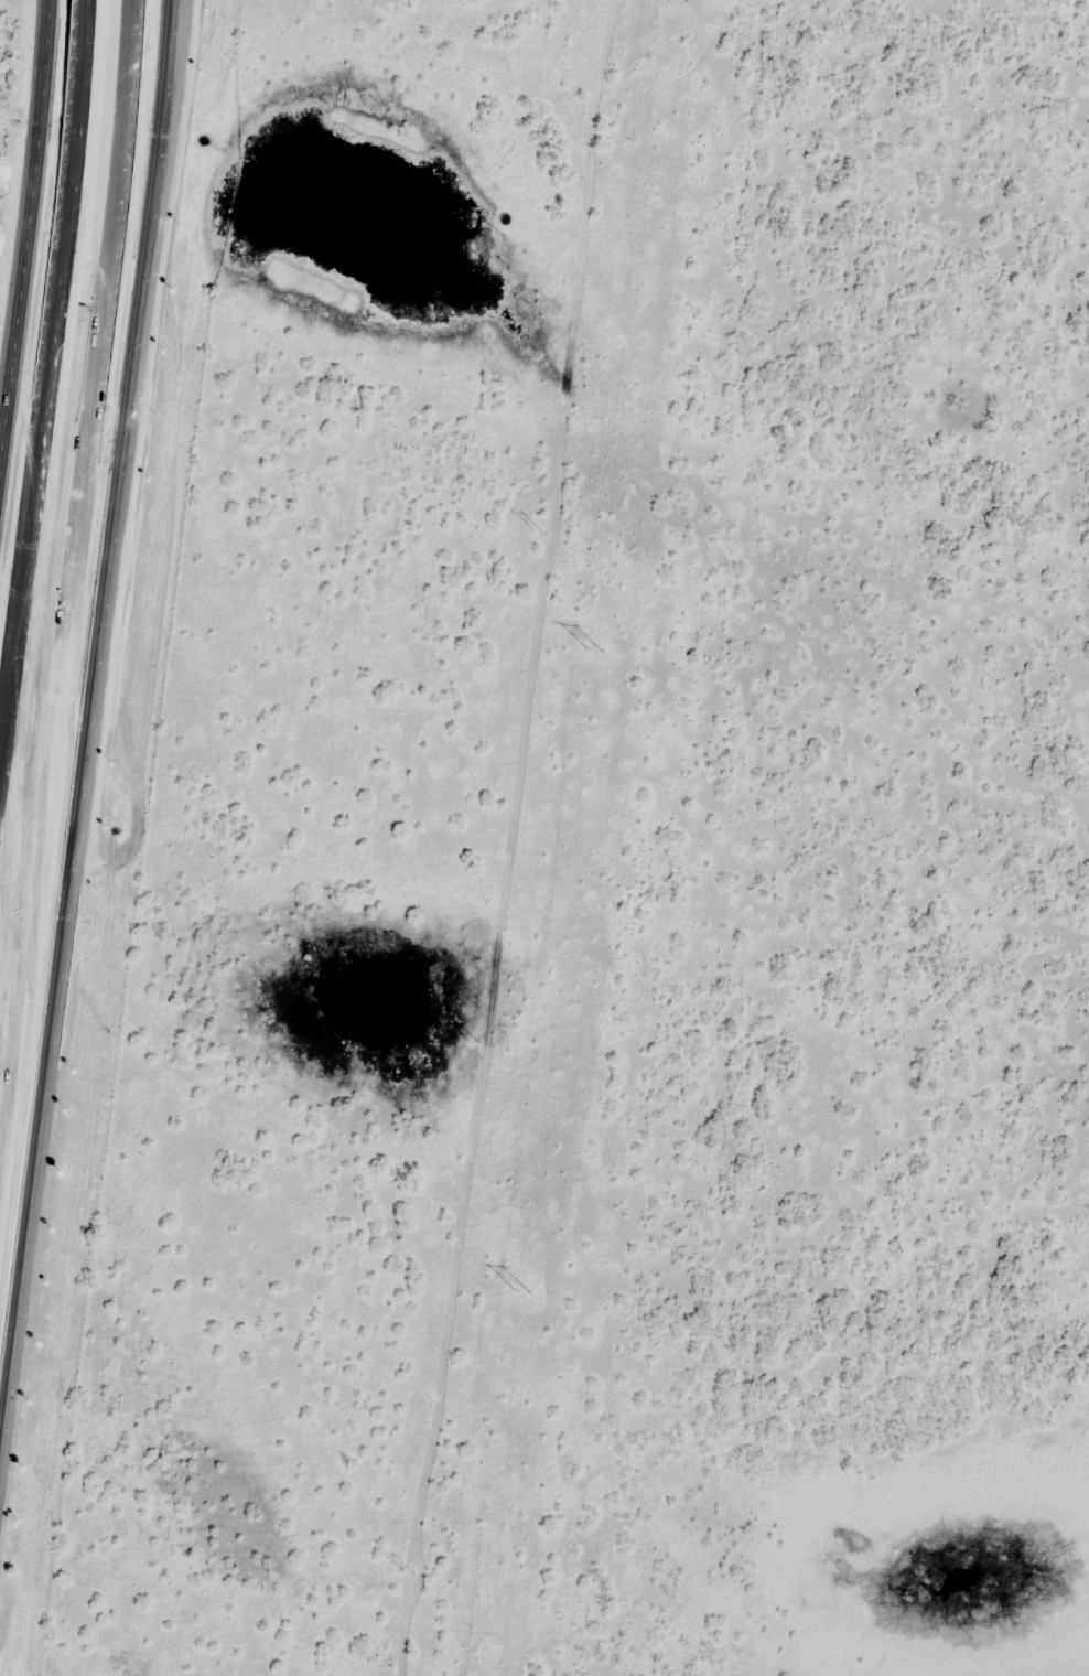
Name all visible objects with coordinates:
power tower: (670, 0)
road: (26, 215)
road: (127, 369)
road: (44, 374)
road: (90, 383)
power tower: (539, 533)
power tower: (593, 655)
road: (48, 895)
road: (39, 910)
power tower: (476, 1043)
road: (14, 1195)
power tower: (519, 1293)
power tower: (410, 1572)

